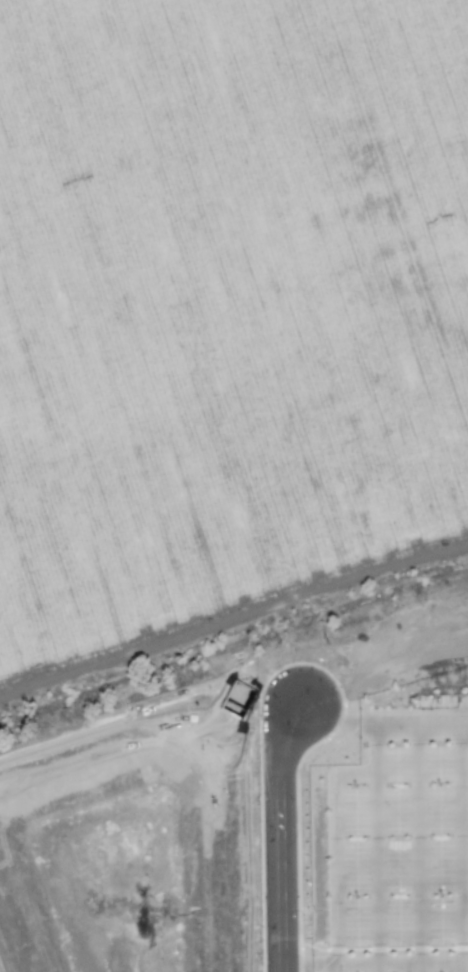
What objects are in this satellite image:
road: (380, 725)
road: (278, 837)
road: (376, 848)
road: (374, 967)

